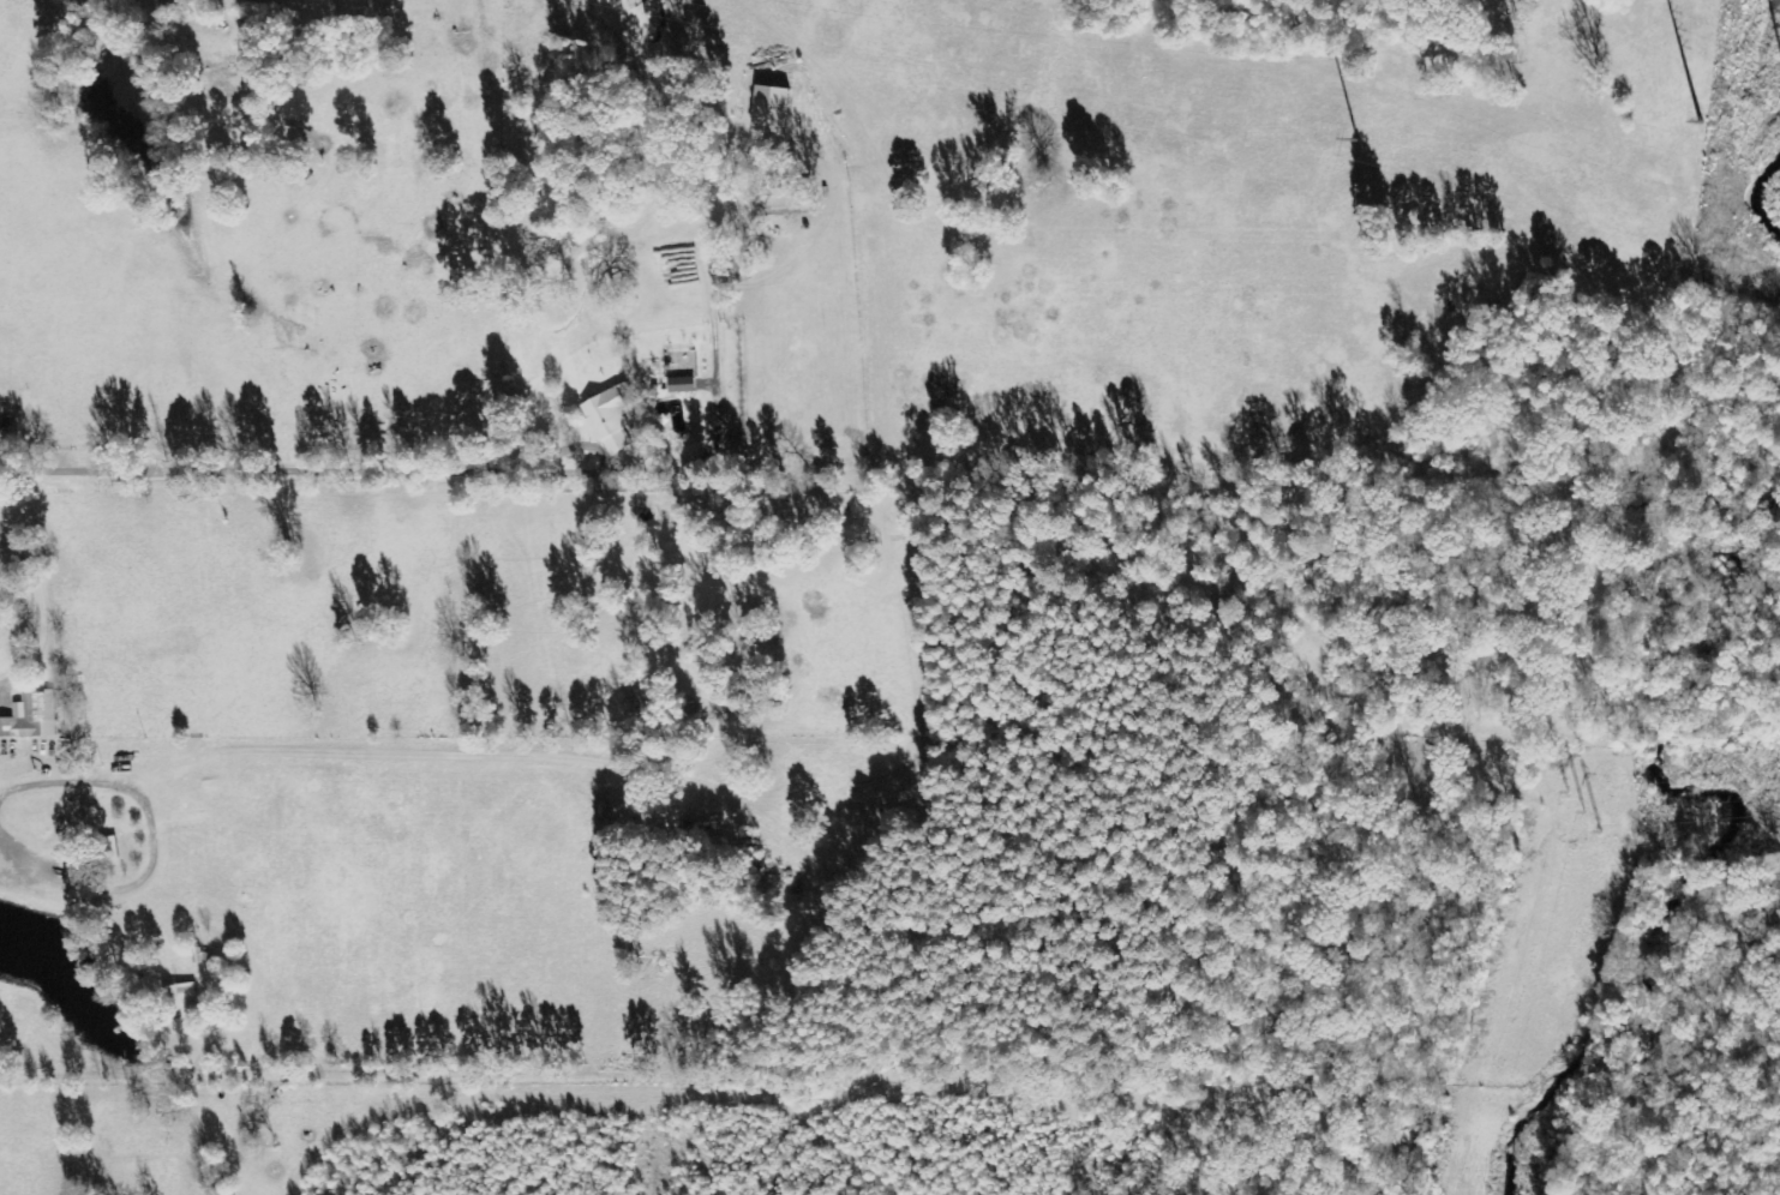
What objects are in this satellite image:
building: (772, 108)
power tower: (1706, 130)
power tower: (1380, 143)
building: (792, 200)
building: (682, 384)
building: (612, 418)
road: (256, 468)
building: (31, 716)
power tower: (1595, 810)
building: (107, 851)
building: (180, 996)

